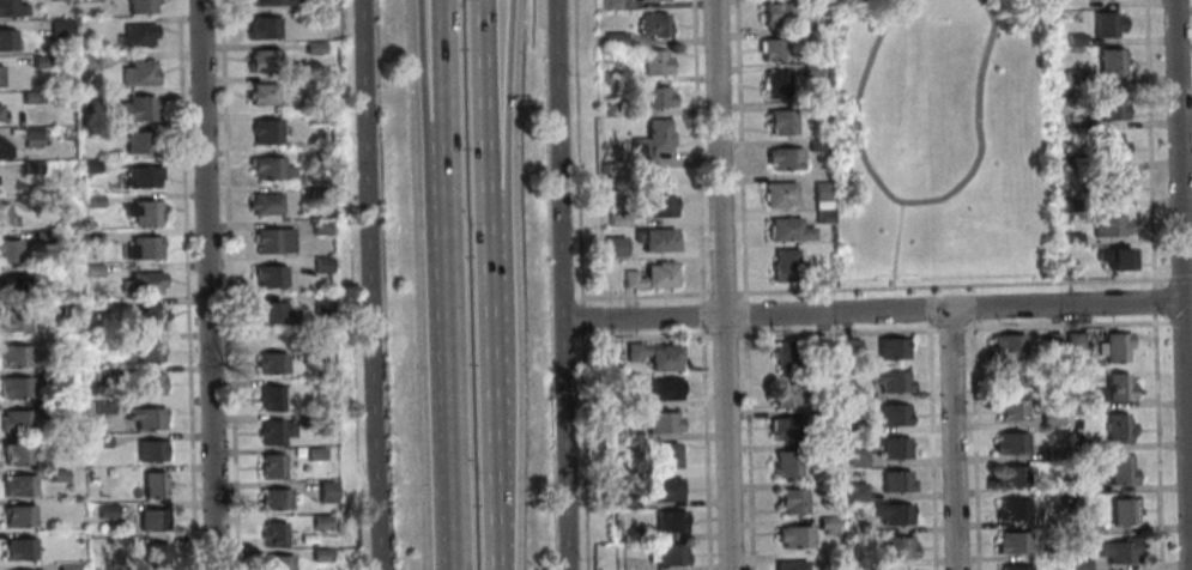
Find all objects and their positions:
building: (86, 0)
building: (653, 0)
building: (265, 2)
building: (609, 2)
building: (138, 6)
building: (10, 8)
building: (775, 14)
building: (652, 24)
building: (1105, 24)
building: (58, 28)
building: (262, 28)
building: (135, 34)
building: (804, 35)
building: (611, 37)
building: (6, 40)
building: (1073, 41)
building: (313, 48)
building: (774, 49)
building: (38, 61)
building: (86, 61)
building: (265, 61)
building: (1108, 62)
building: (654, 65)
building: (810, 69)
building: (137, 72)
building: (1, 75)
road: (436, 75)
road: (443, 75)
building: (610, 77)
building: (1073, 78)
building: (298, 81)
building: (774, 85)
building: (259, 93)
building: (28, 97)
building: (86, 97)
building: (652, 97)
building: (1105, 107)
building: (135, 108)
building: (815, 108)
building: (612, 109)
building: (1, 111)
road: (485, 115)
road: (496, 115)
building: (316, 116)
building: (780, 122)
building: (265, 129)
building: (29, 137)
building: (137, 140)
park: (944, 141)
building: (648, 142)
road: (1148, 144)
building: (816, 145)
building: (1109, 146)
building: (4, 148)
road: (696, 150)
road: (738, 150)
road: (576, 151)
building: (316, 153)
road: (347, 156)
building: (782, 158)
building: (30, 165)
building: (87, 165)
building: (267, 168)
building: (601, 169)
building: (140, 175)
building: (1113, 188)
building: (316, 190)
building: (777, 193)
building: (819, 194)
building: (90, 200)
road: (916, 201)
building: (262, 202)
building: (658, 206)
building: (140, 212)
building: (5, 216)
building: (823, 216)
building: (615, 218)
building: (1102, 225)
building: (317, 228)
building: (786, 229)
building: (40, 236)
building: (655, 238)
building: (1071, 238)
building: (89, 239)
building: (271, 239)
road: (895, 244)
building: (611, 245)
building: (139, 248)
building: (11, 251)
building: (1114, 257)
building: (321, 263)
building: (782, 265)
building: (91, 271)
building: (267, 274)
building: (651, 274)
road: (452, 277)
road: (1181, 278)
building: (140, 281)
road: (183, 284)
road: (226, 284)
building: (13, 285)
road: (207, 285)
road: (370, 285)
road: (561, 285)
road: (721, 285)
road: (952, 285)
road: (1182, 285)
road: (721, 292)
road: (643, 295)
road: (1154, 301)
building: (320, 302)
building: (67, 308)
road: (877, 310)
building: (272, 313)
building: (149, 314)
road: (744, 314)
road: (970, 314)
road: (702, 315)
road: (927, 315)
road: (581, 317)
building: (12, 320)
road: (1180, 321)
road: (1066, 325)
road: (949, 328)
road: (835, 332)
road: (724, 335)
road: (646, 338)
building: (1054, 340)
building: (1076, 340)
building: (1010, 342)
building: (1115, 345)
building: (848, 347)
building: (890, 347)
building: (145, 350)
building: (822, 351)
building: (309, 353)
building: (653, 354)
building: (13, 356)
building: (786, 356)
building: (271, 362)
building: (102, 374)
building: (1011, 374)
building: (56, 378)
building: (889, 381)
building: (146, 383)
building: (819, 383)
building: (1120, 387)
building: (13, 388)
building: (662, 388)
building: (785, 394)
building: (851, 394)
building: (270, 396)
road: (494, 400)
building: (623, 400)
building: (1078, 402)
building: (101, 406)
building: (56, 408)
building: (1012, 408)
building: (893, 414)
building: (143, 416)
building: (311, 418)
building: (1052, 418)
building: (17, 420)
building: (660, 422)
building: (853, 426)
building: (1119, 426)
building: (783, 427)
building: (272, 430)
road: (951, 439)
building: (99, 441)
building: (1011, 441)
road: (355, 442)
road: (1156, 442)
road: (974, 443)
road: (930, 444)
building: (1078, 444)
road: (748, 448)
building: (812, 448)
building: (894, 448)
building: (150, 449)
road: (703, 449)
road: (582, 450)
building: (1057, 451)
building: (313, 453)
building: (14, 454)
building: (662, 454)
building: (855, 459)
building: (785, 462)
building: (270, 465)
building: (1119, 468)
building: (55, 474)
building: (1015, 474)
building: (89, 477)
building: (894, 481)
building: (151, 484)
building: (16, 485)
building: (1085, 485)
road: (458, 486)
building: (821, 486)
building: (662, 489)
building: (325, 491)
building: (854, 491)
building: (273, 498)
building: (624, 501)
building: (789, 501)
building: (822, 503)
building: (1015, 508)
building: (103, 510)
building: (1125, 510)
building: (893, 514)
building: (17, 515)
building: (149, 519)
building: (319, 521)
building: (667, 521)
building: (1087, 523)
building: (825, 524)
building: (855, 526)
building: (624, 533)
building: (273, 534)
building: (793, 536)
building: (1015, 541)
building: (895, 546)
building: (17, 548)
building: (1120, 548)
building: (1054, 551)
building: (667, 553)
building: (319, 554)
building: (153, 556)
building: (855, 559)
building: (273, 562)
building: (787, 564)
building: (1081, 564)
building: (65, 566)
building: (1017, 566)
building: (902, 569)

